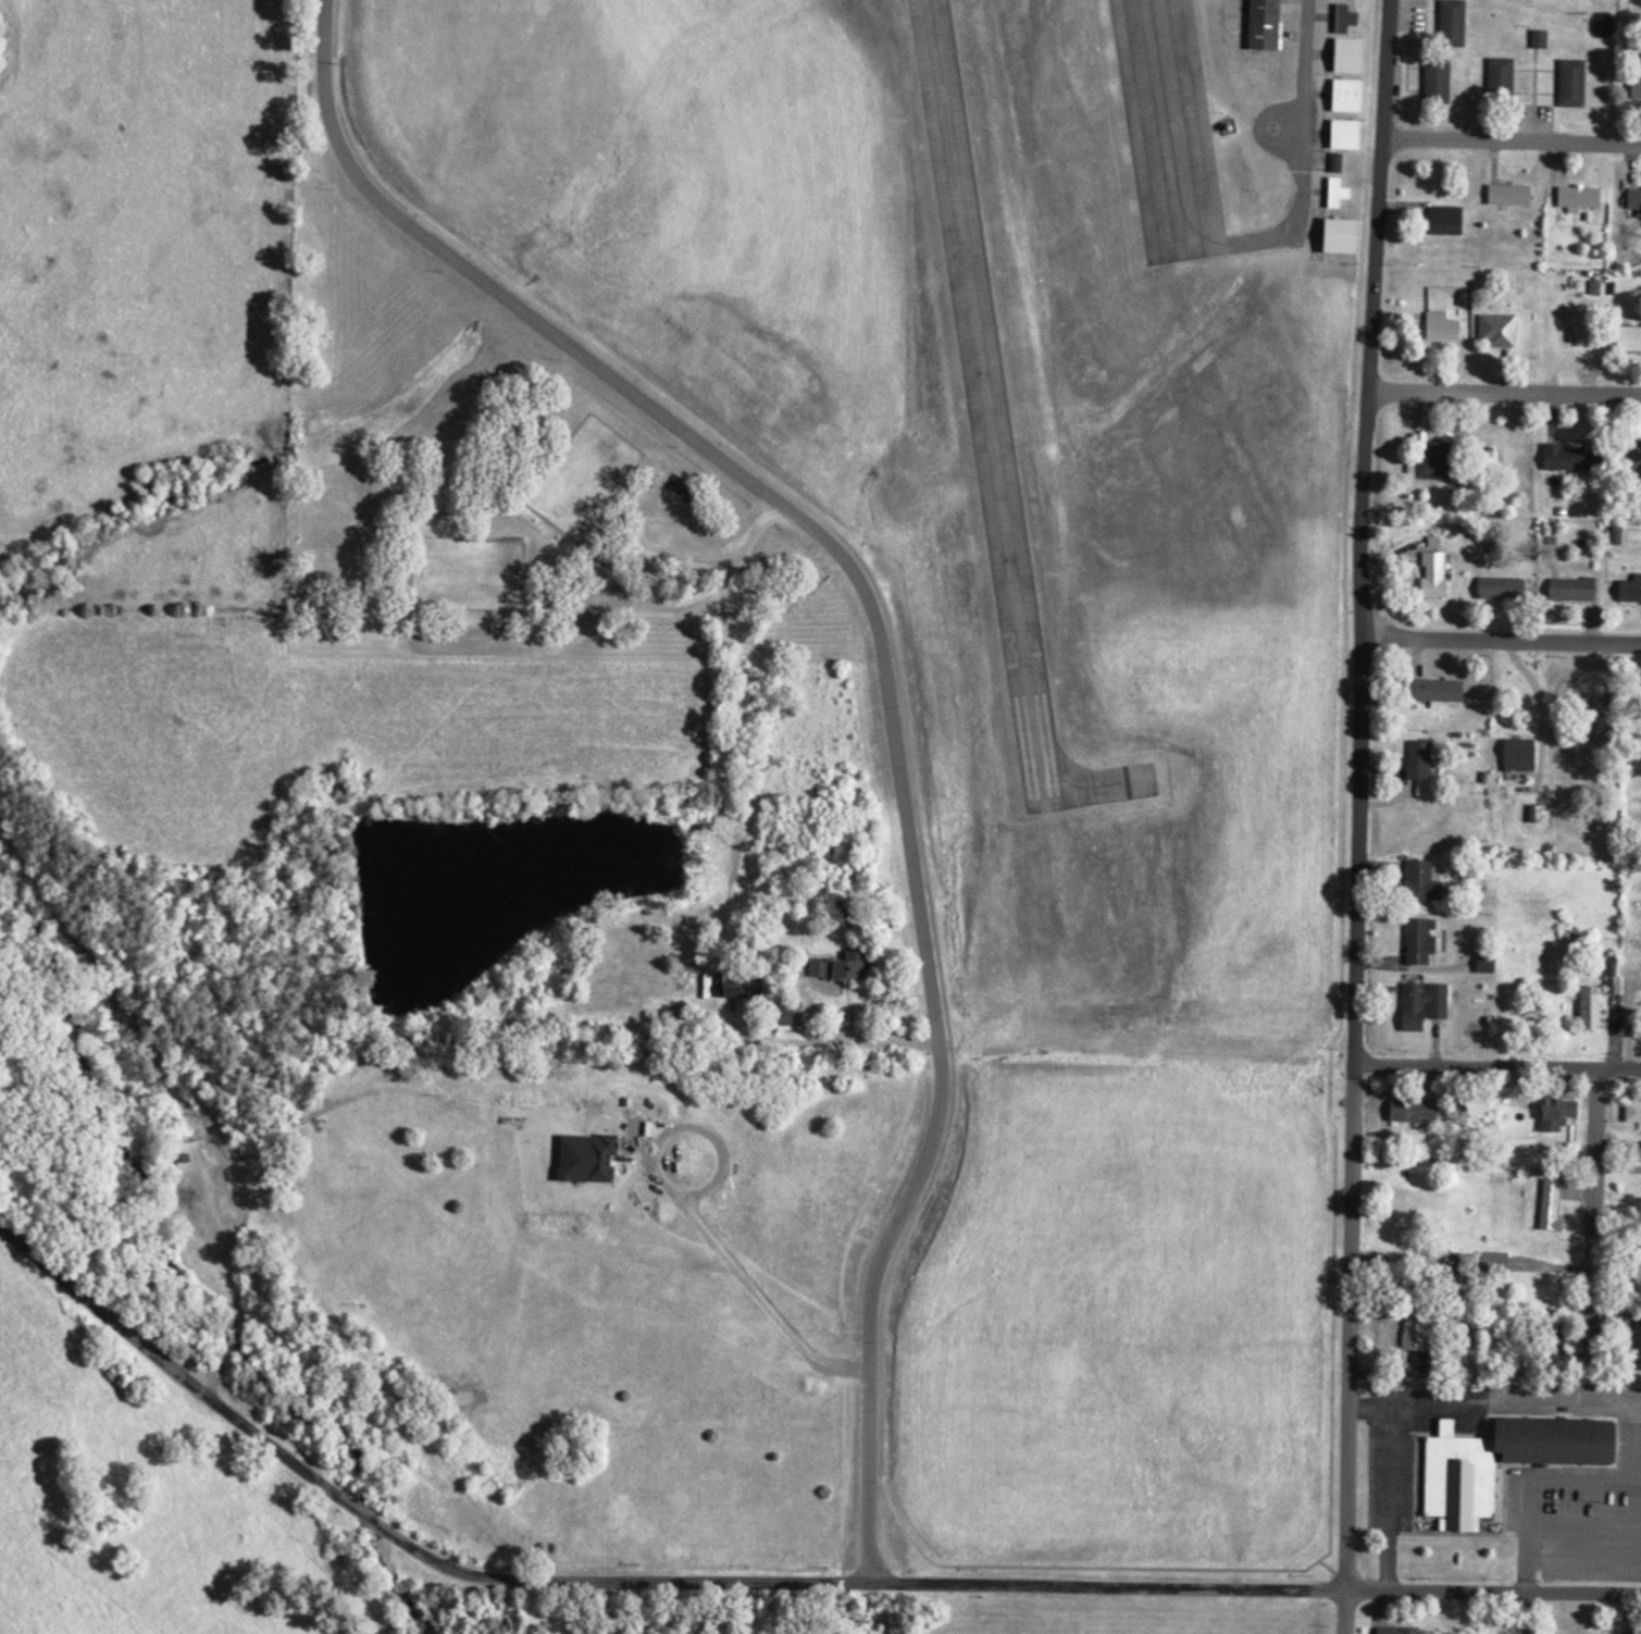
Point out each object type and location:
building: (1350, 20)
building: (1458, 22)
building: (1270, 25)
building: (1546, 39)
building: (1355, 55)
building: (1443, 79)
building: (1506, 79)
building: (1578, 84)
building: (1640, 89)
building: (1353, 96)
airport apron: (1169, 131)
building: (1352, 135)
road: (1513, 140)
building: (1342, 193)
building: (1517, 195)
building: (1586, 198)
building: (1637, 200)
building: (1348, 237)
road: (1372, 314)
building: (1449, 327)
building: (1504, 330)
building: (1633, 339)
road: (1504, 393)
airport runway: (986, 395)
building: (1621, 535)
building: (1441, 575)
building: (1508, 590)
building: (1579, 590)
building: (1633, 592)
road: (660, 606)
road: (1501, 636)
road: (881, 669)
building: (1444, 691)
road: (1538, 707)
building: (1527, 755)
building: (1427, 768)
building: (1540, 814)
building: (1428, 883)
building: (1428, 940)
building: (1491, 964)
building: (847, 966)
building: (1619, 985)
building: (751, 987)
building: (1429, 1004)
road: (1627, 1024)
road: (859, 1041)
road: (1496, 1064)
building: (1419, 1112)
building: (1637, 1112)
building: (1564, 1113)
road: (1351, 1131)
building: (1556, 1205)
road: (1592, 1266)
building: (1424, 1346)
building: (1513, 1461)
road: (1387, 1477)
road: (438, 1565)
road: (1316, 1589)
building: (1404, 1631)

